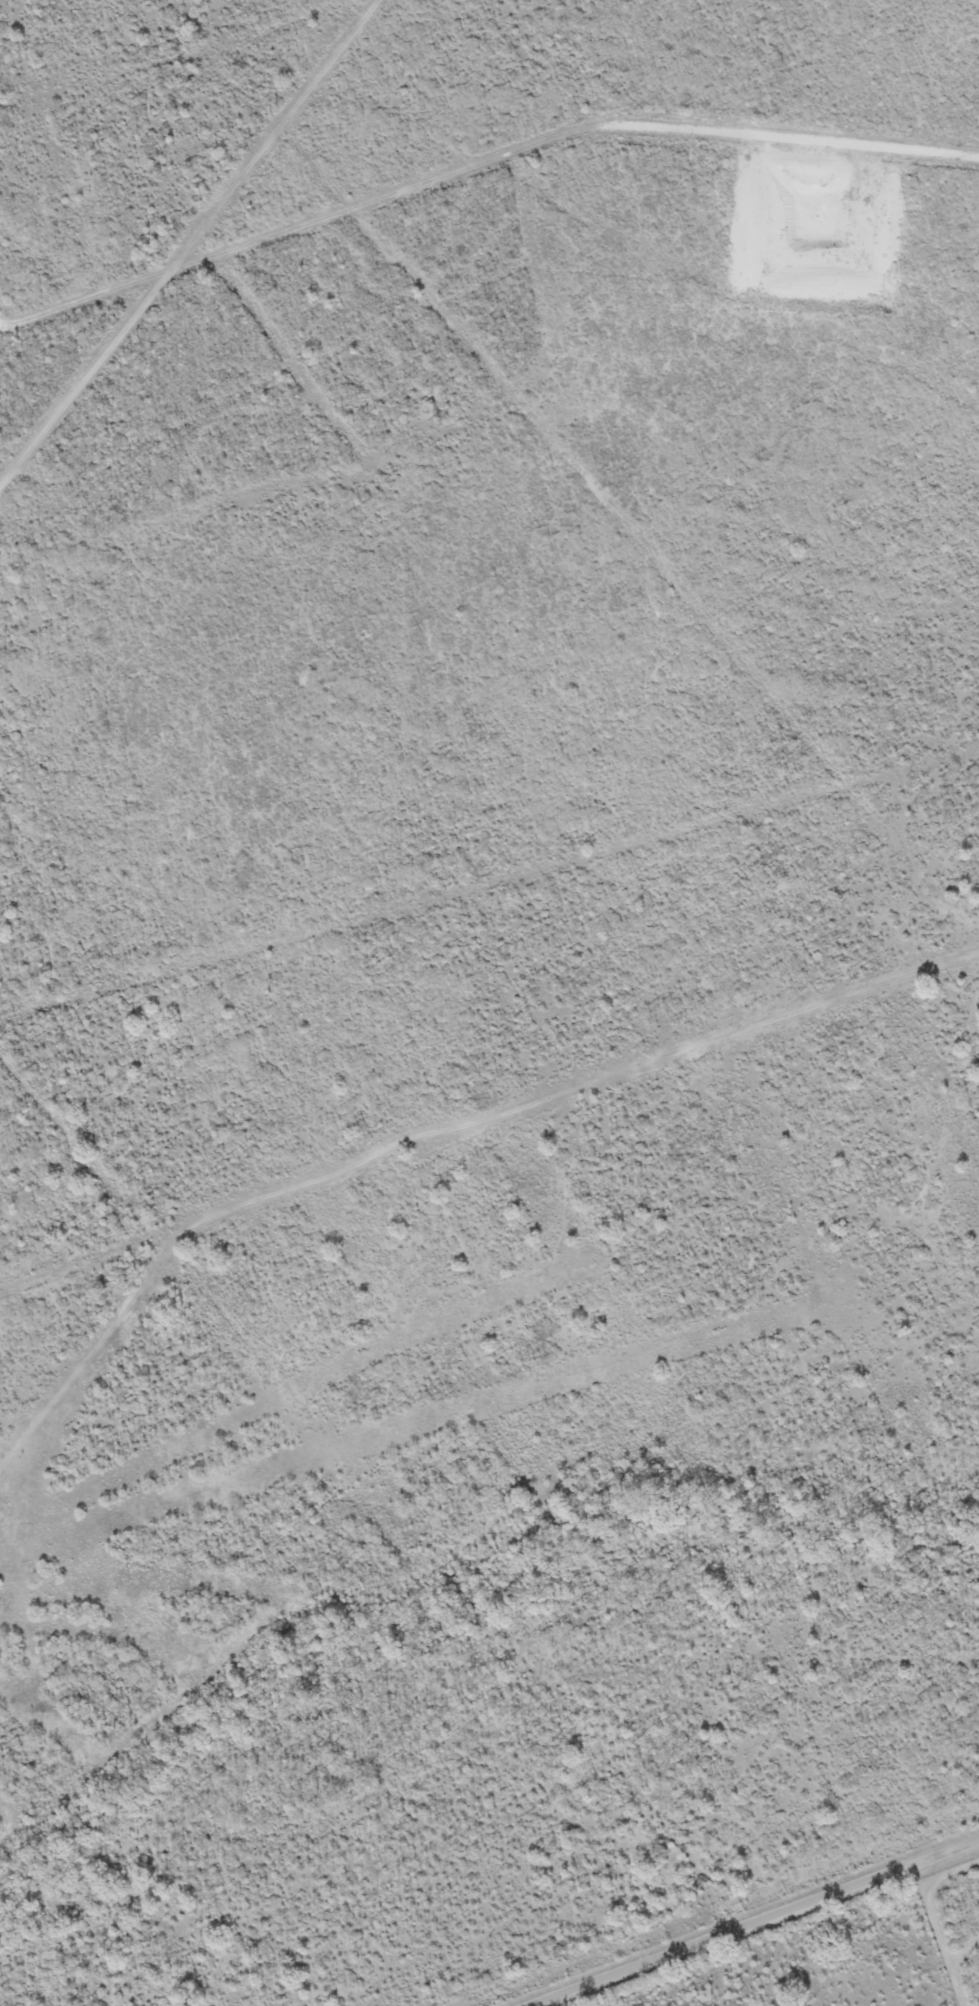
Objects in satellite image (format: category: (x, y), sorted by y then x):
road: (762, 1924)

